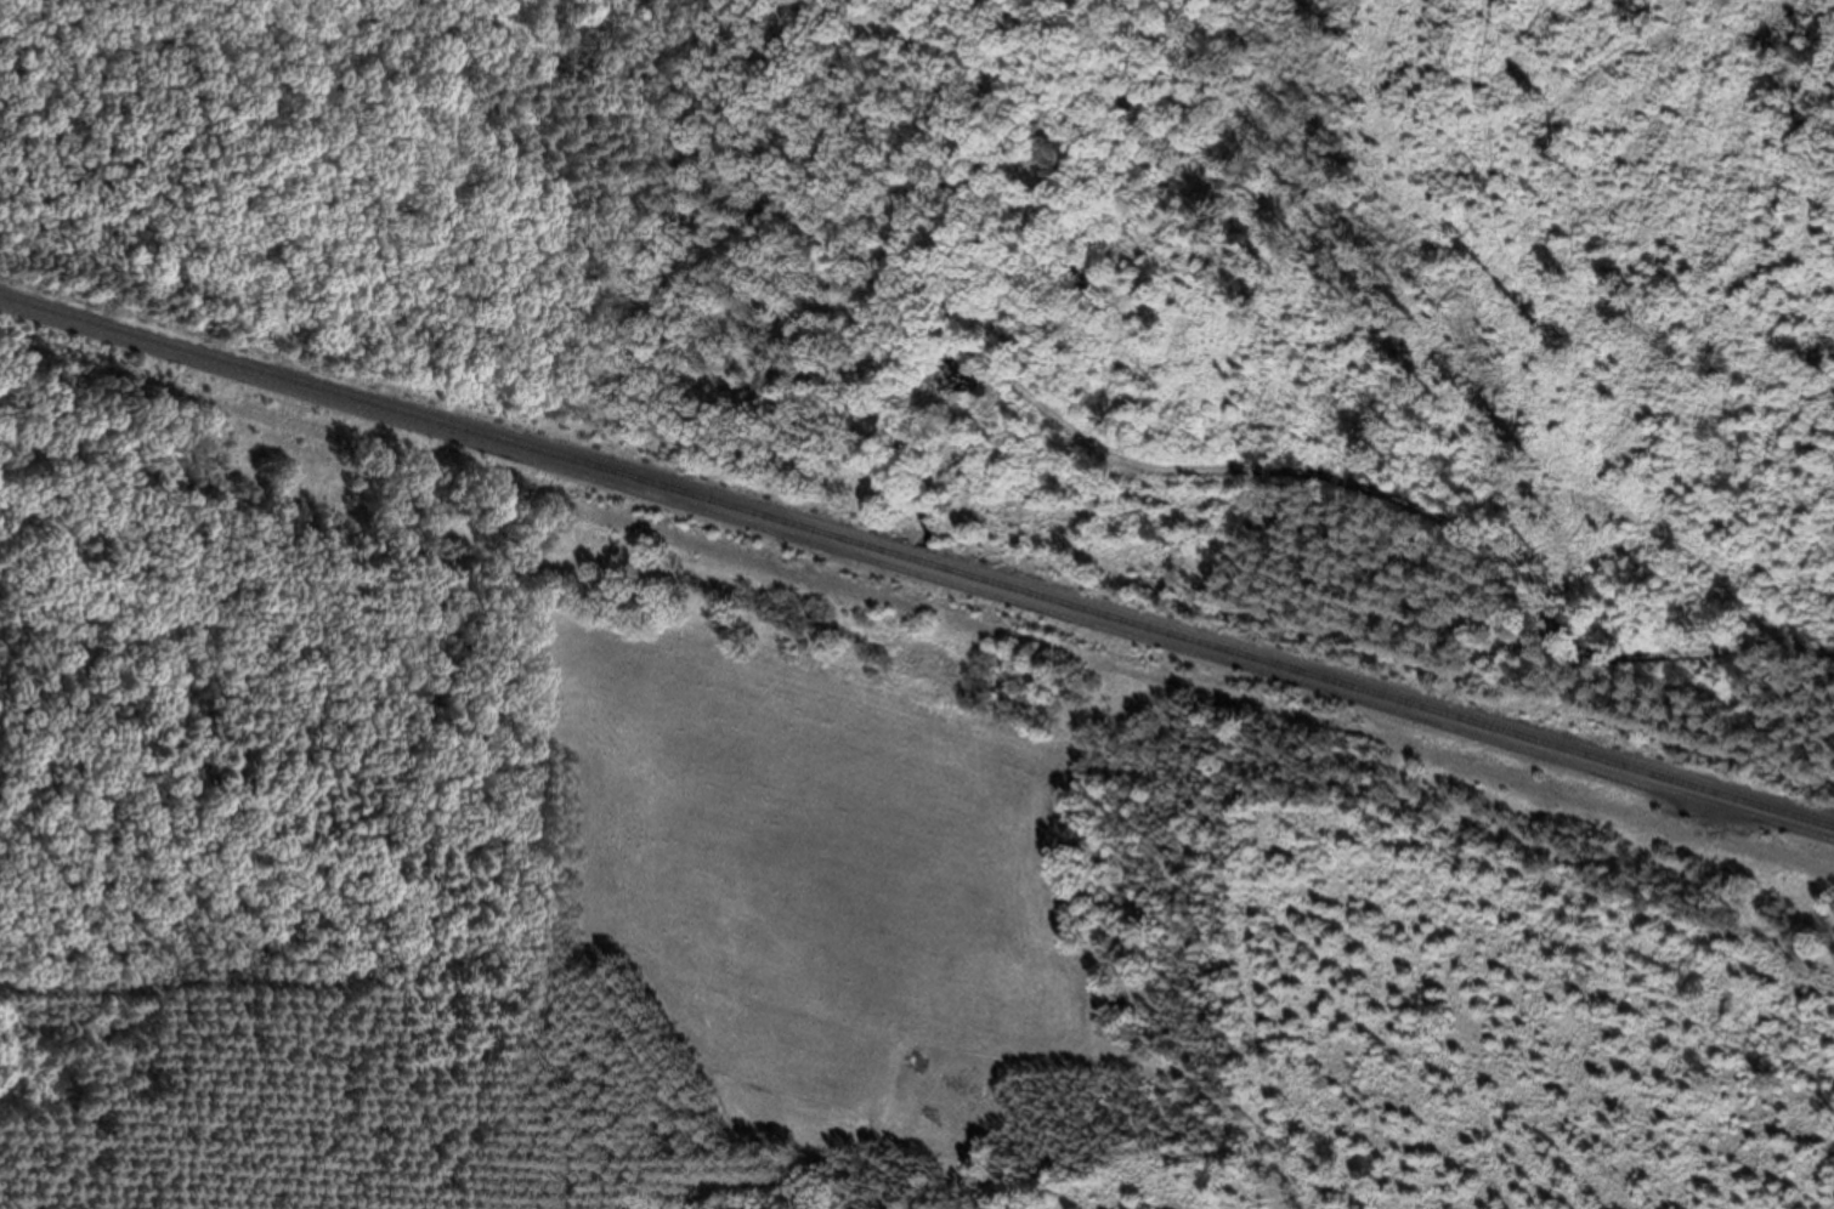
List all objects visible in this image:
park: (1417, 182)
railway: (917, 560)

